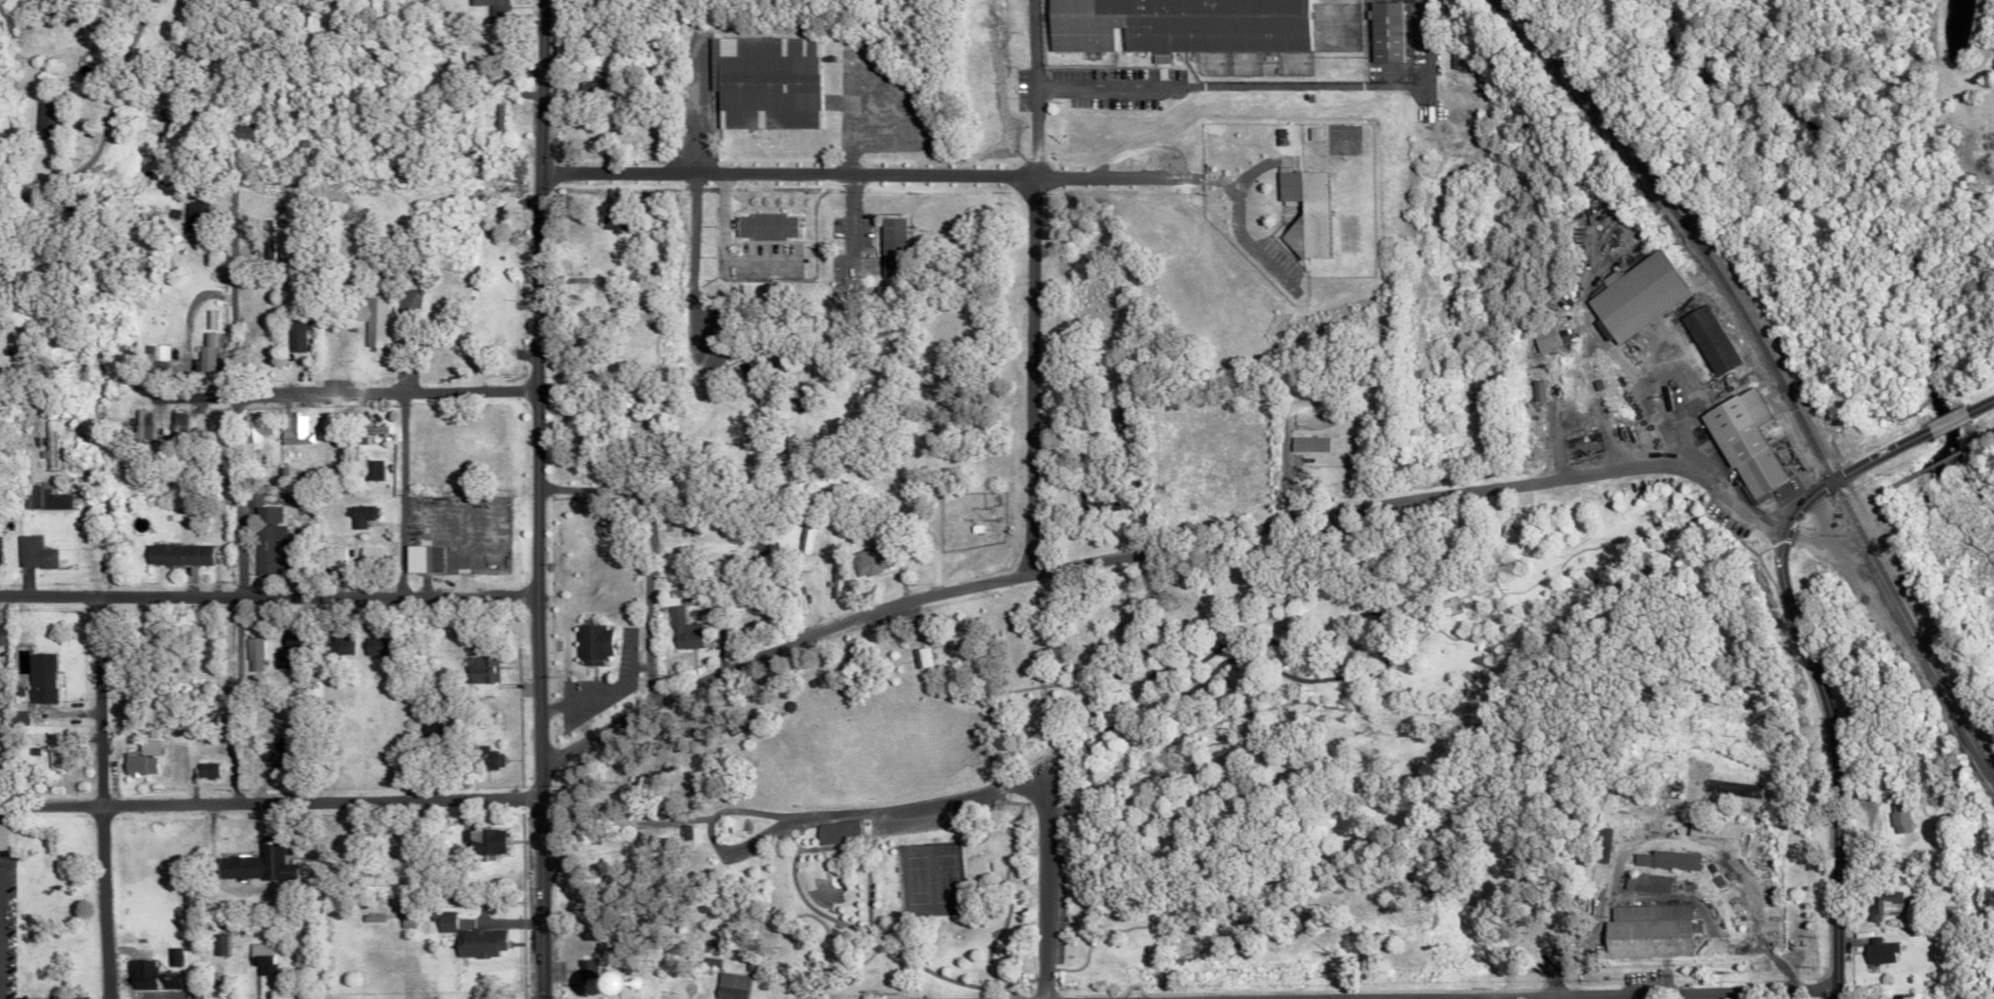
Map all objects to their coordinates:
building: (490, 9)
building: (1177, 25)
building: (1382, 31)
road: (1029, 42)
building: (471, 55)
building: (1454, 60)
building: (764, 82)
road: (1271, 85)
road: (689, 116)
building: (47, 121)
road: (851, 129)
road: (1029, 131)
building: (1313, 133)
road: (122, 155)
road: (856, 175)
building: (1302, 213)
building: (193, 216)
building: (611, 218)
building: (764, 226)
building: (264, 240)
building: (891, 247)
road: (689, 258)
road: (628, 268)
building: (1634, 297)
building: (363, 318)
building: (292, 334)
building: (1545, 338)
building: (1708, 340)
building: (204, 352)
building: (153, 359)
road: (1024, 374)
railway: (1772, 375)
road: (379, 390)
building: (1534, 391)
road: (26, 401)
road: (1982, 404)
building: (1120, 419)
road: (1951, 420)
building: (140, 425)
building: (174, 426)
building: (250, 430)
building: (293, 430)
building: (371, 430)
building: (1309, 444)
building: (1744, 444)
building: (50, 445)
road: (1941, 457)
building: (369, 470)
road: (1844, 472)
road: (646, 482)
road: (396, 492)
road: (231, 495)
building: (43, 498)
road: (531, 499)
building: (357, 516)
building: (804, 530)
building: (1509, 534)
building: (262, 539)
road: (1152, 548)
building: (34, 553)
park: (1948, 553)
building: (174, 555)
building: (330, 556)
building: (367, 556)
building: (420, 559)
building: (867, 561)
building: (835, 578)
road: (815, 579)
road: (1527, 584)
road: (265, 596)
building: (795, 599)
road: (652, 606)
road: (1949, 622)
building: (682, 631)
building: (2, 636)
building: (290, 641)
building: (338, 645)
building: (591, 645)
building: (372, 646)
road: (1307, 647)
building: (250, 655)
building: (919, 658)
railway: (1922, 669)
building: (479, 670)
building: (40, 678)
road: (1982, 686)
road: (1149, 723)
building: (271, 751)
building: (484, 758)
building: (55, 761)
building: (138, 765)
road: (1827, 765)
building: (205, 770)
park: (1177, 776)
road: (1011, 782)
road: (98, 797)
road: (266, 800)
building: (1897, 816)
building: (1711, 829)
building: (832, 831)
road: (862, 833)
road: (778, 834)
building: (2, 837)
road: (690, 838)
building: (476, 841)
building: (1603, 844)
road: (792, 847)
building: (1666, 860)
building: (254, 862)
park: (940, 876)
park: (908, 878)
building: (1648, 882)
building: (1884, 903)
building: (441, 921)
building: (1648, 931)
building: (474, 942)
building: (216, 943)
building: (1881, 951)
building: (258, 957)
road: (838, 963)
building: (592, 974)
building: (146, 975)
road: (591, 976)
road: (941, 976)
water tower: (625, 981)
building: (728, 985)
road: (1654, 994)
road: (774, 995)
road: (638, 996)

